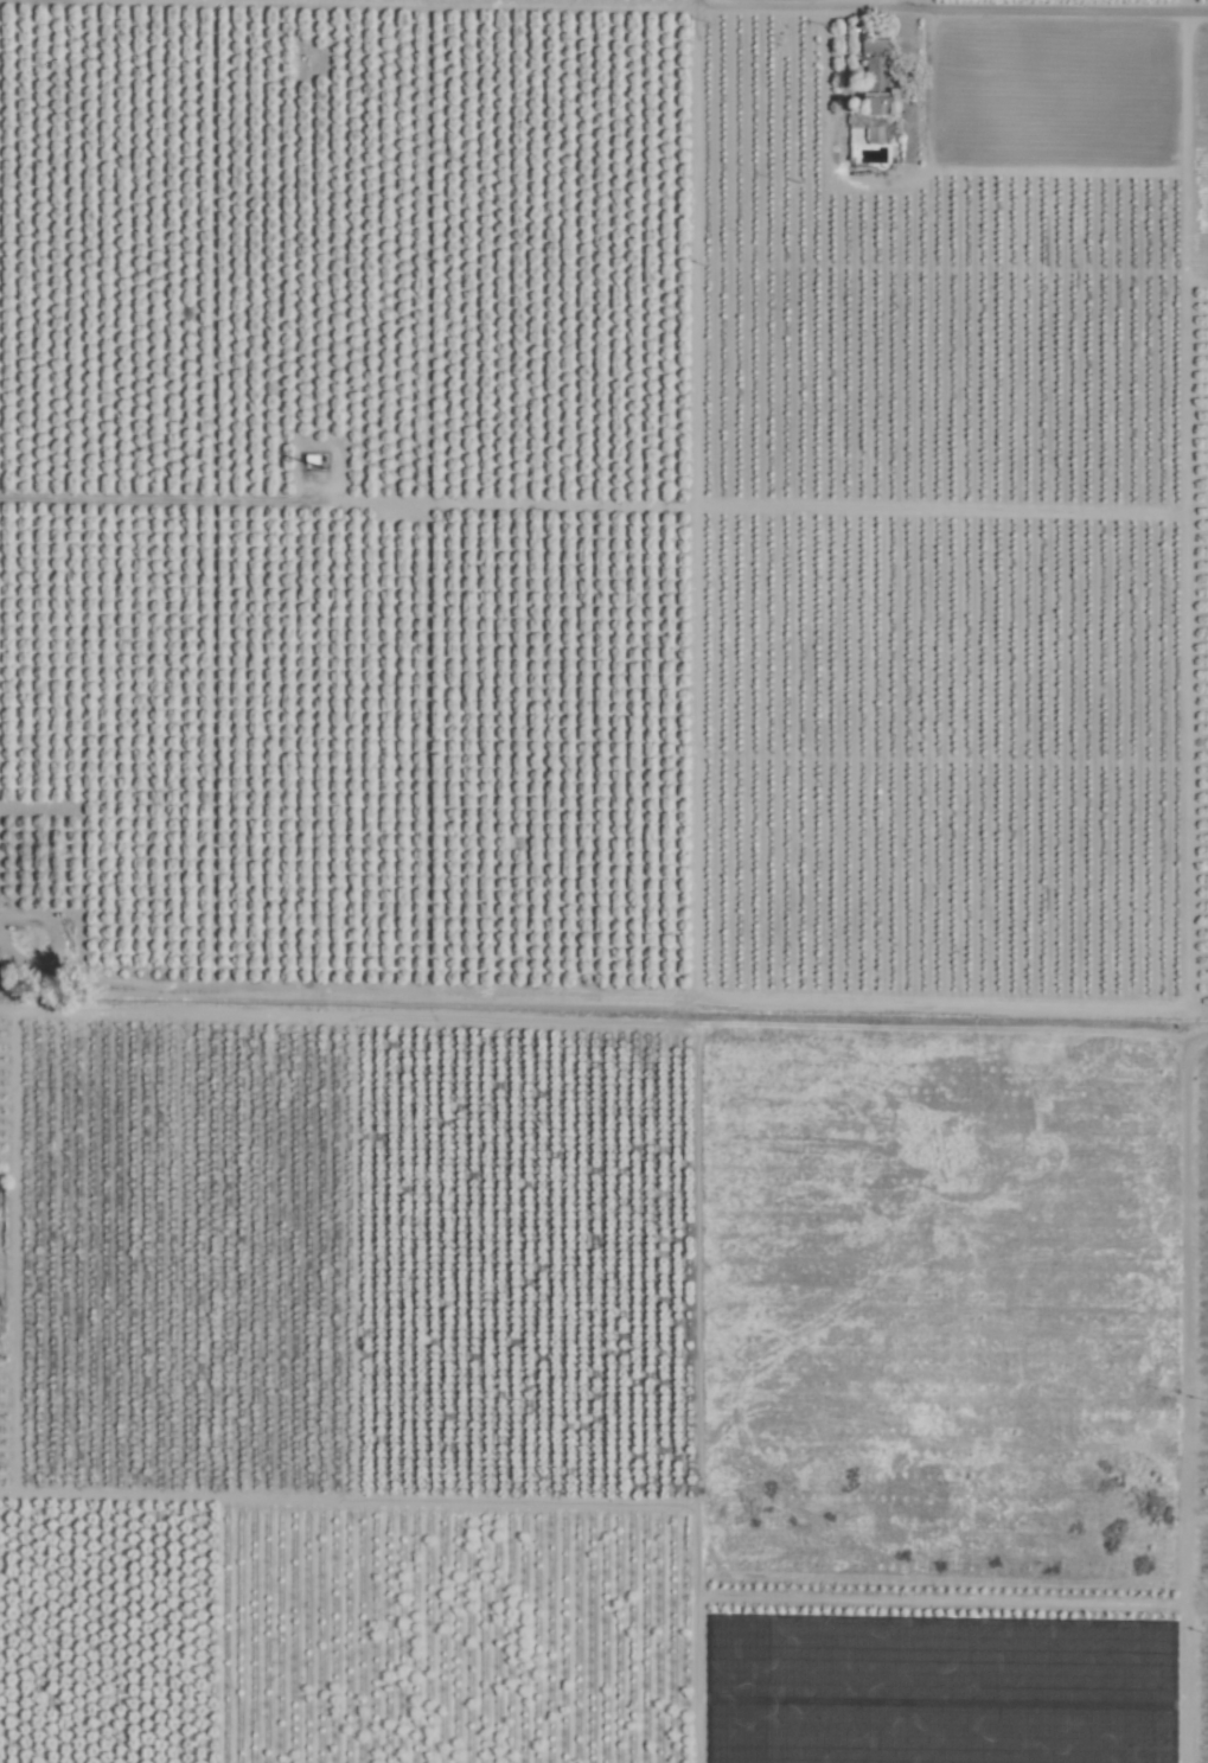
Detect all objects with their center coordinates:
road: (870, 0)
road: (990, 1)
crop: (603, 881)

